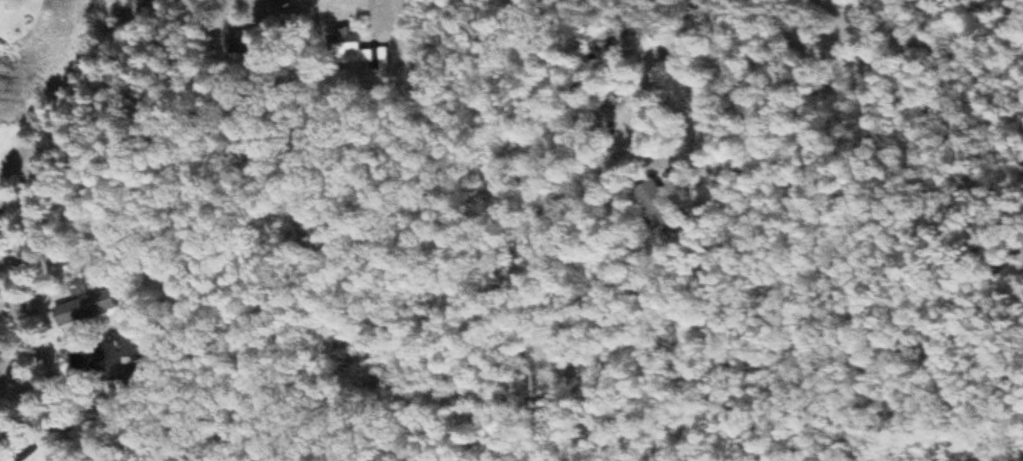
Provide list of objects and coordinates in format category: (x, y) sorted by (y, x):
building: (238, 45)
building: (356, 53)
building: (657, 211)
building: (83, 311)

